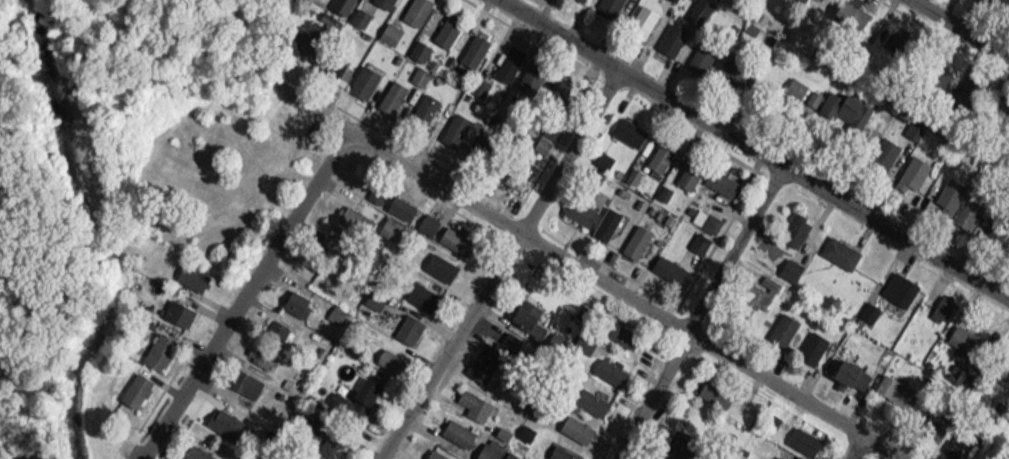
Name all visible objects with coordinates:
building: (383, 1)
building: (336, 4)
building: (604, 4)
building: (695, 7)
building: (413, 8)
building: (357, 11)
building: (848, 11)
building: (639, 16)
building: (388, 28)
road: (954, 32)
building: (669, 34)
building: (298, 35)
building: (417, 45)
building: (471, 46)
building: (506, 58)
building: (338, 71)
building: (361, 77)
building: (475, 81)
building: (793, 82)
building: (390, 90)
building: (420, 107)
road: (310, 119)
building: (452, 124)
building: (626, 126)
building: (659, 152)
road: (746, 154)
building: (911, 167)
building: (686, 172)
building: (718, 177)
building: (947, 189)
building: (380, 194)
building: (965, 207)
building: (348, 210)
building: (603, 218)
building: (424, 219)
building: (386, 223)
building: (791, 226)
building: (453, 235)
building: (633, 237)
building: (836, 246)
building: (437, 262)
building: (665, 263)
road: (496, 268)
building: (190, 272)
building: (897, 285)
building: (418, 290)
building: (293, 298)
road: (617, 298)
road: (245, 301)
building: (867, 306)
building: (937, 306)
building: (175, 308)
building: (521, 311)
road: (701, 318)
building: (406, 323)
building: (781, 324)
building: (958, 332)
building: (265, 337)
building: (809, 342)
building: (156, 346)
building: (388, 355)
building: (480, 357)
building: (606, 366)
building: (848, 374)
building: (236, 376)
building: (960, 377)
building: (133, 385)
building: (362, 387)
building: (890, 389)
building: (588, 396)
building: (471, 399)
building: (573, 423)
building: (932, 423)
building: (454, 427)
building: (798, 439)
road: (853, 450)

